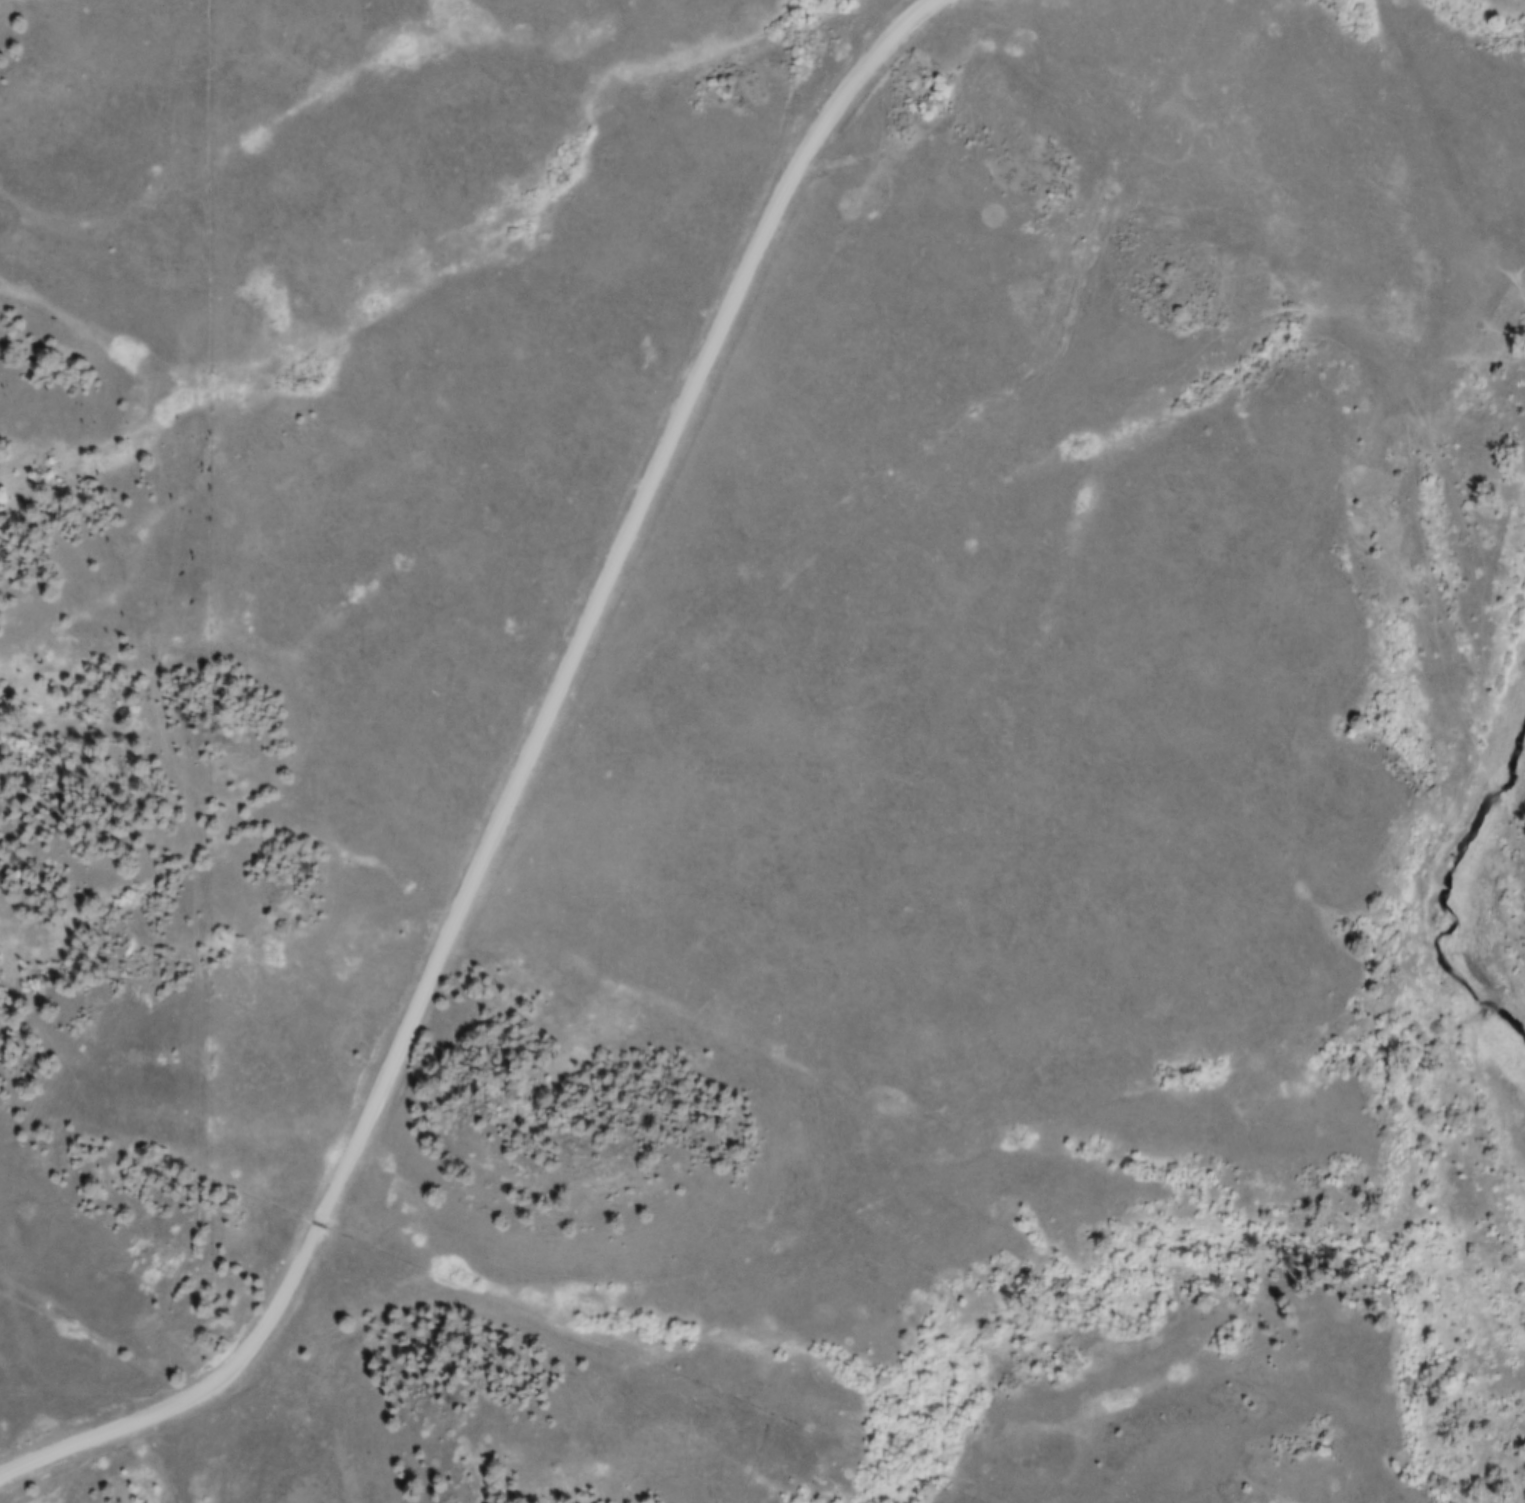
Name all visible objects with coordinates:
road: (511, 789)
river: (1438, 883)

